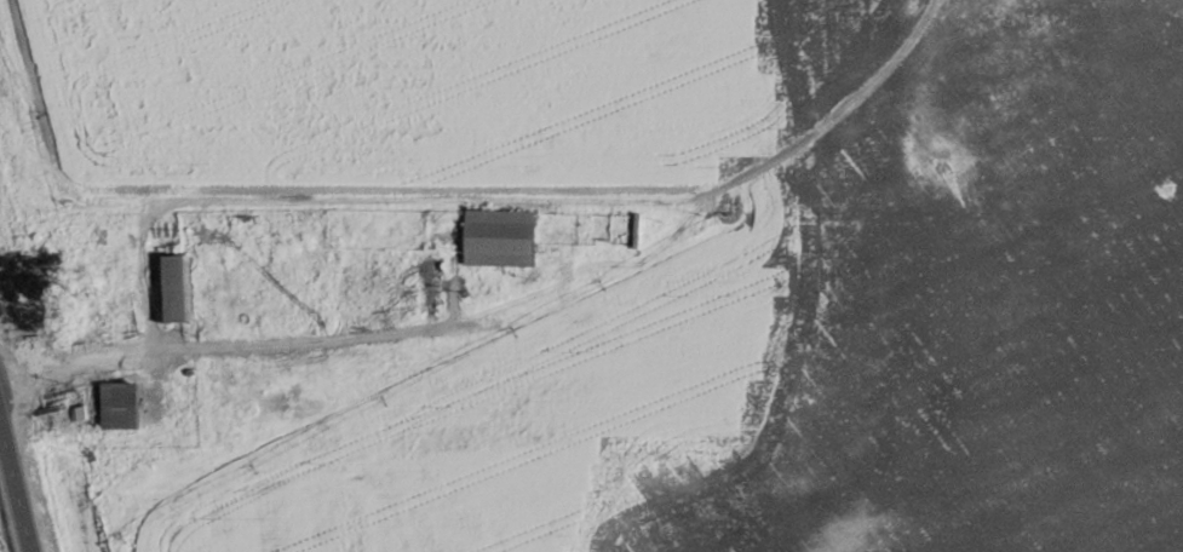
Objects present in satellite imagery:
building: (500, 237)
building: (178, 288)
building: (120, 406)
road: (19, 467)

